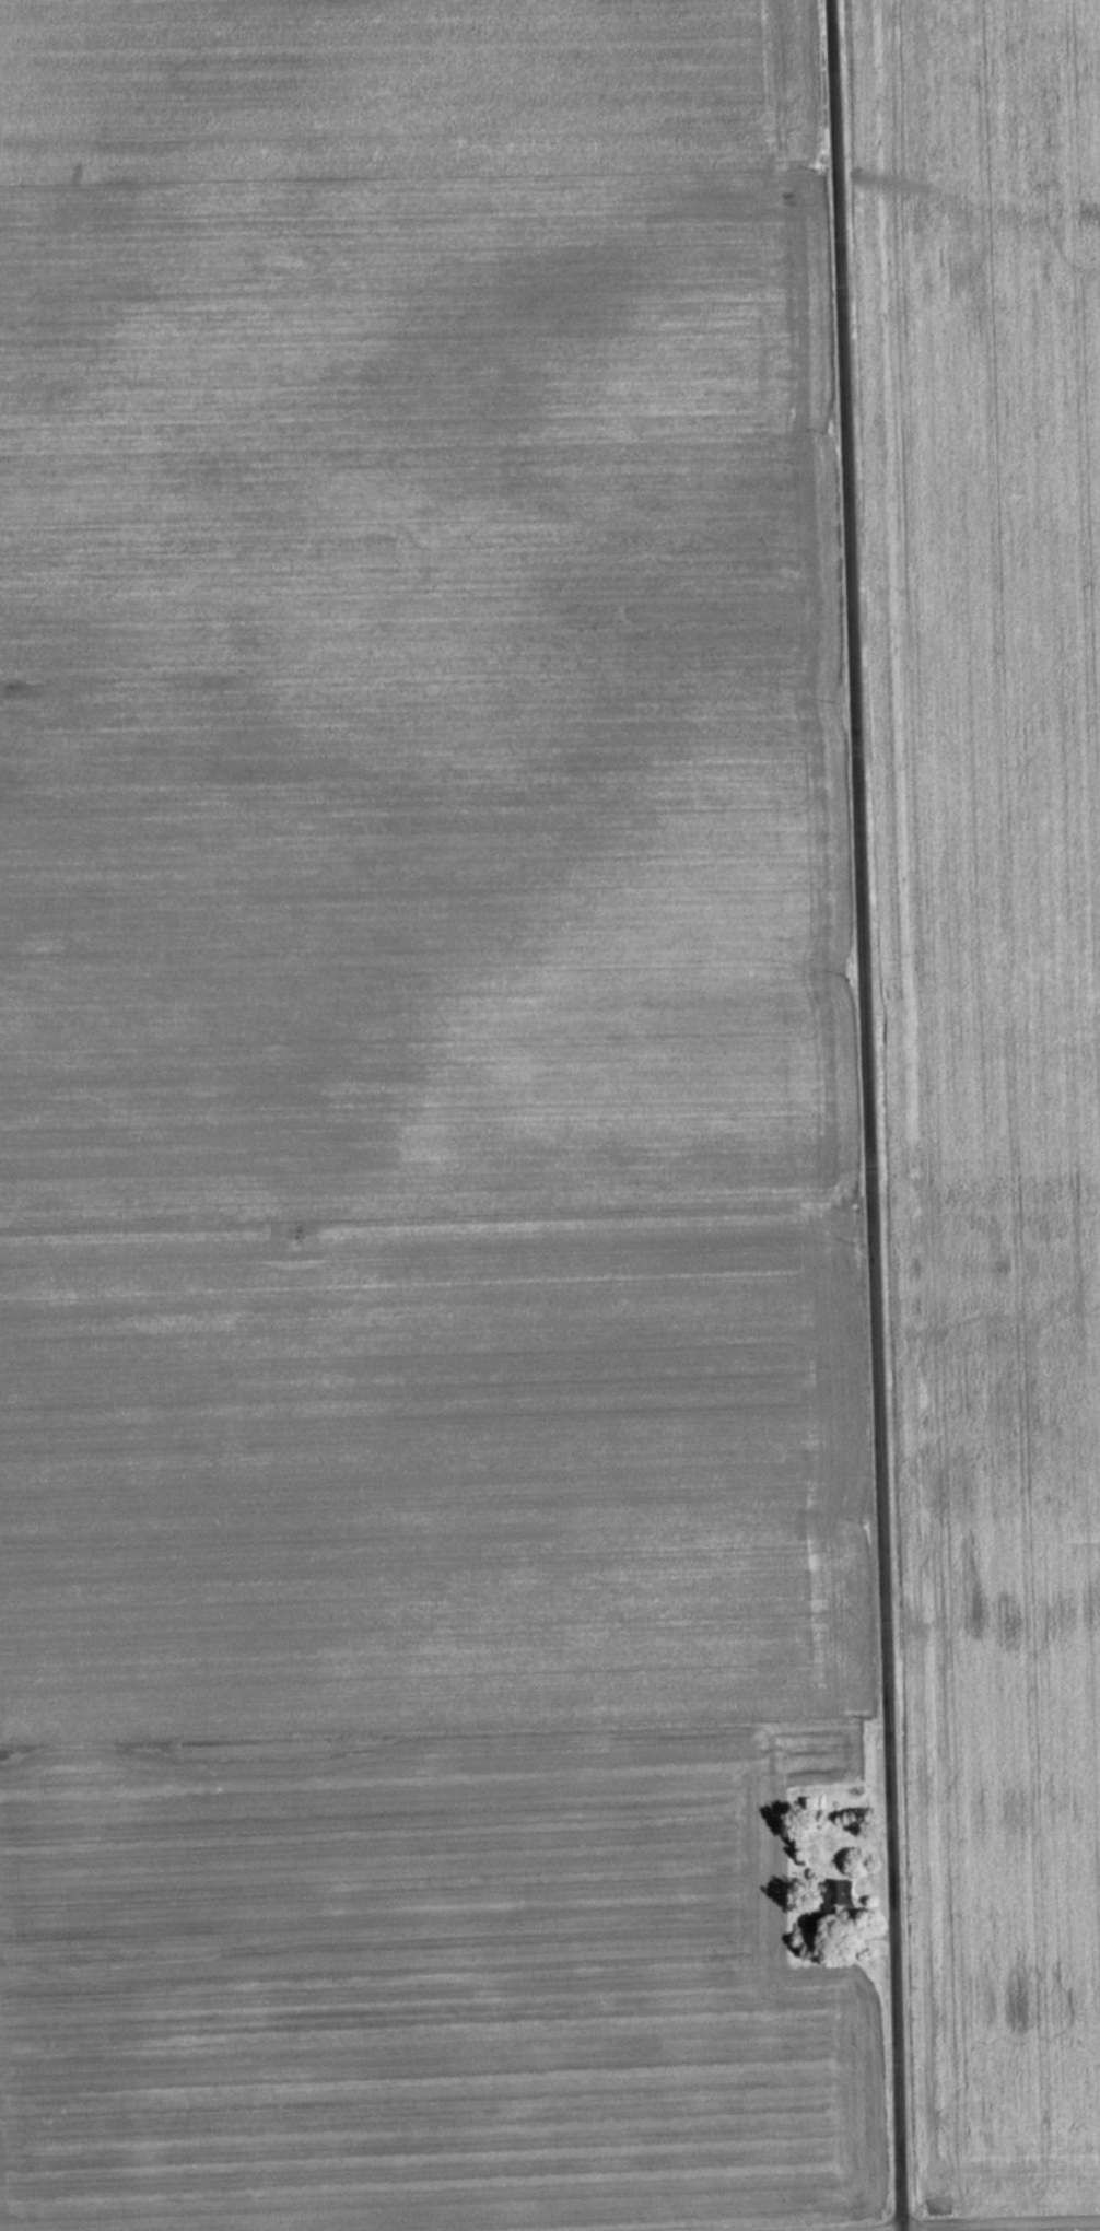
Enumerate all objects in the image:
crop: (995, 1031)
crop: (416, 1109)
road: (869, 1114)
building: (833, 1891)
road: (914, 2222)

